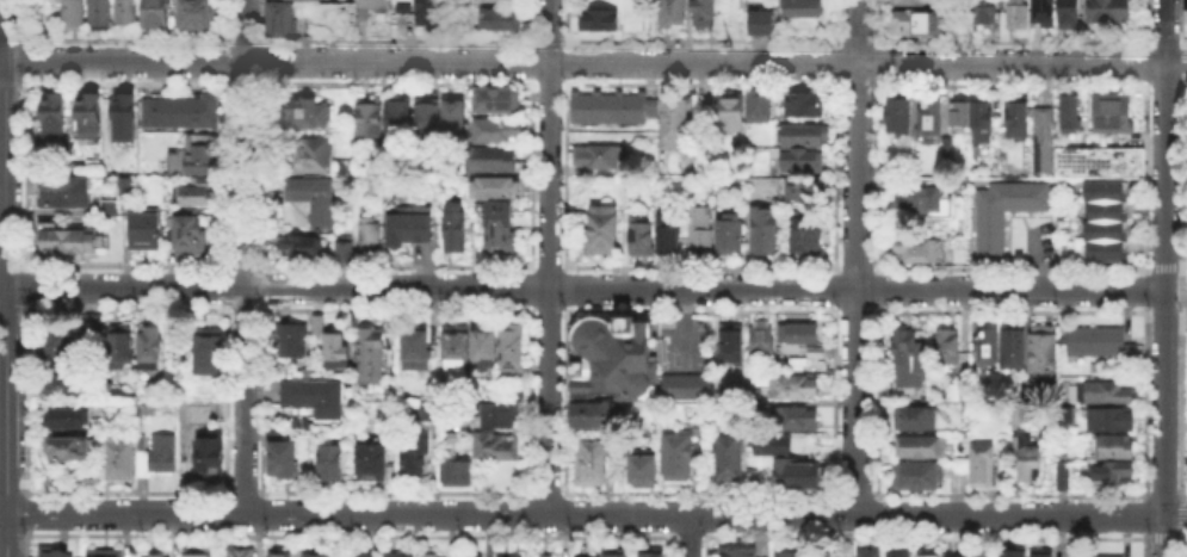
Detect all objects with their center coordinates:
building: (502, 0)
building: (911, 2)
building: (401, 5)
building: (367, 7)
building: (804, 11)
building: (128, 12)
building: (985, 12)
building: (1045, 12)
building: (1109, 12)
building: (73, 13)
building: (434, 13)
building: (674, 13)
building: (705, 13)
building: (101, 14)
building: (157, 14)
building: (198, 14)
building: (1018, 14)
building: (1070, 14)
building: (277, 17)
building: (502, 21)
building: (1185, 21)
road: (24, 23)
building: (599, 23)
building: (763, 24)
building: (913, 24)
road: (1181, 24)
road: (1148, 25)
road: (124, 38)
road: (243, 38)
road: (395, 38)
road: (546, 39)
road: (698, 39)
road: (1181, 39)
road: (854, 41)
road: (1163, 41)
road: (8, 42)
road: (1009, 42)
road: (24, 61)
road: (2, 63)
road: (595, 64)
road: (1185, 64)
road: (1146, 66)
road: (124, 81)
road: (245, 81)
road: (395, 81)
road: (855, 81)
road: (7, 82)
road: (546, 82)
road: (699, 82)
road: (1009, 82)
road: (1181, 83)
road: (1162, 85)
building: (497, 100)
building: (760, 107)
building: (804, 107)
building: (178, 109)
building: (608, 111)
building: (50, 113)
building: (731, 113)
building: (87, 115)
building: (308, 115)
building: (122, 116)
building: (958, 116)
building: (981, 116)
building: (1071, 116)
building: (1114, 116)
building: (899, 117)
building: (370, 118)
building: (932, 119)
building: (1016, 119)
building: (414, 120)
building: (456, 120)
building: (675, 123)
building: (500, 131)
building: (799, 134)
building: (1045, 137)
road: (5, 144)
building: (948, 150)
building: (307, 154)
building: (202, 156)
building: (600, 157)
building: (797, 159)
building: (494, 160)
building: (1102, 165)
park: (1183, 171)
road: (24, 173)
road: (1145, 177)
building: (496, 188)
building: (62, 190)
building: (200, 192)
building: (802, 196)
building: (315, 202)
building: (925, 204)
building: (107, 206)
building: (1004, 216)
building: (406, 224)
building: (1107, 224)
building: (452, 229)
building: (500, 229)
building: (604, 229)
building: (147, 233)
building: (804, 233)
building: (700, 234)
building: (766, 234)
building: (366, 235)
building: (670, 235)
building: (732, 235)
building: (643, 237)
building: (192, 239)
building: (69, 243)
building: (295, 245)
building: (341, 249)
building: (916, 252)
road: (549, 255)
road: (246, 256)
road: (857, 256)
road: (125, 264)
road: (245, 264)
road: (397, 264)
road: (549, 264)
road: (700, 265)
road: (1164, 265)
road: (1179, 265)
road: (8, 266)
road: (857, 266)
road: (1012, 266)
road: (1164, 278)
road: (24, 285)
road: (1145, 289)
road: (1180, 290)
road: (581, 291)
road: (124, 309)
road: (246, 309)
road: (7, 310)
road: (397, 310)
road: (700, 310)
road: (857, 310)
road: (1010, 310)
road: (549, 311)
road: (1164, 311)
road: (1179, 311)
road: (1175, 315)
building: (93, 322)
building: (315, 323)
building: (800, 335)
building: (293, 341)
building: (763, 342)
building: (1101, 344)
building: (458, 346)
building: (985, 346)
building: (122, 347)
building: (486, 347)
building: (731, 347)
building: (58, 348)
building: (335, 348)
building: (950, 348)
building: (150, 349)
building: (416, 349)
building: (512, 349)
building: (1014, 351)
building: (1044, 351)
building: (210, 352)
building: (372, 357)
building: (613, 357)
building: (909, 360)
building: (680, 385)
building: (68, 388)
building: (795, 390)
building: (963, 390)
building: (1106, 395)
road: (25, 400)
building: (314, 400)
road: (1145, 402)
building: (753, 404)
road: (6, 406)
building: (500, 416)
building: (600, 416)
building: (69, 420)
building: (797, 420)
building: (916, 421)
building: (1112, 422)
building: (766, 447)
building: (69, 448)
building: (499, 448)
building: (917, 448)
building: (1111, 450)
building: (210, 456)
building: (1024, 456)
building: (140, 457)
building: (678, 458)
building: (414, 459)
building: (729, 460)
building: (284, 462)
building: (594, 463)
building: (372, 464)
building: (333, 465)
building: (984, 469)
building: (644, 470)
building: (1109, 475)
building: (456, 476)
building: (798, 476)
building: (917, 477)
building: (1063, 477)
road: (125, 489)
road: (245, 490)
road: (396, 490)
road: (549, 491)
road: (700, 491)
road: (855, 493)
road: (1010, 493)
road: (1163, 493)
road: (1181, 494)
road: (10, 495)
road: (595, 513)
road: (30, 514)
road: (1144, 515)
road: (1181, 516)
road: (2, 522)
road: (350, 534)
road: (488, 534)
road: (688, 536)
road: (690, 536)
road: (923, 536)
road: (1163, 536)
road: (1182, 536)
road: (6, 539)
road: (10, 539)
road: (29, 544)
road: (1144, 544)
road: (1182, 545)
building: (319, 552)
building: (978, 552)
building: (109, 553)
building: (198, 553)
building: (242, 553)
building: (277, 553)
building: (738, 553)
building: (899, 553)
building: (56, 555)
building: (152, 555)
building: (427, 555)
building: (617, 555)
building: (789, 555)
building: (870, 555)
building: (952, 555)
building: (1013, 555)
building: (1098, 555)
building: (369, 556)
building: (400, 556)
building: (507, 556)
building: (654, 556)
building: (929, 556)
building: (1043, 556)

